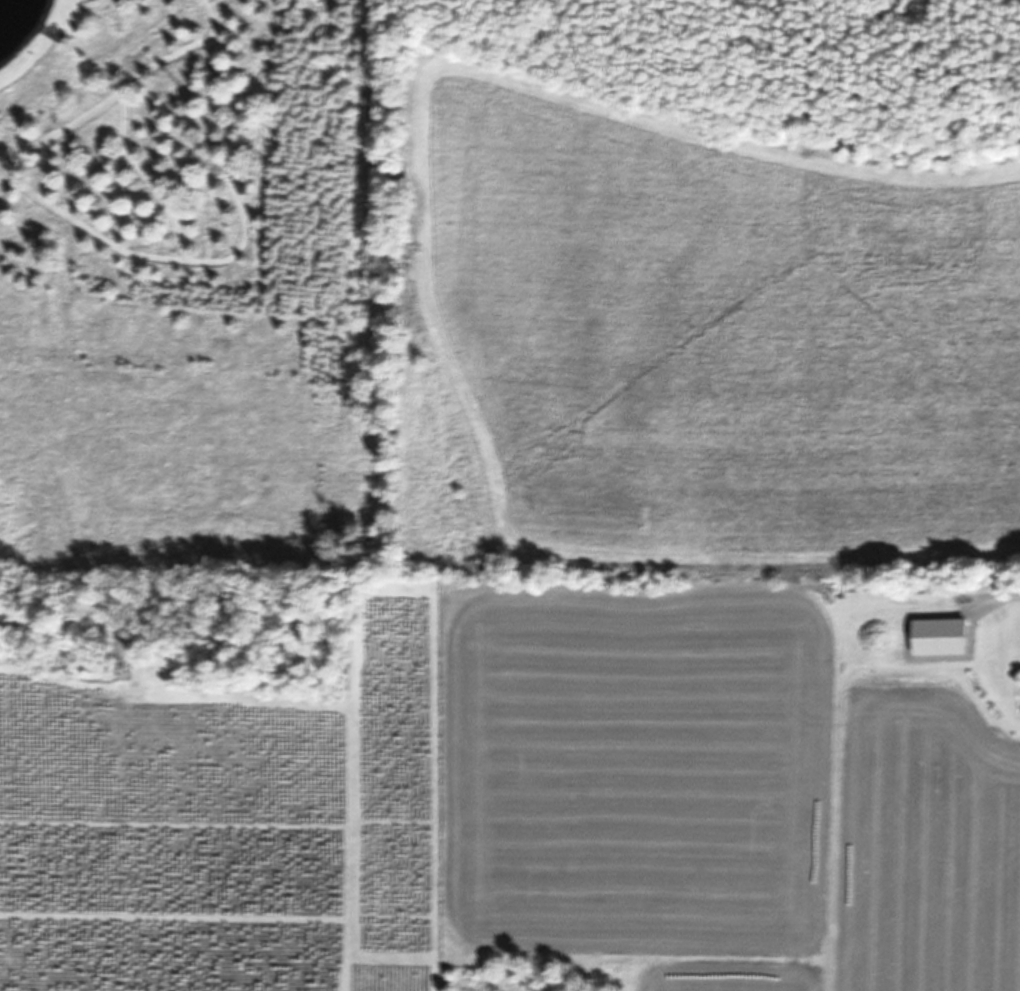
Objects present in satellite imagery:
building: (734, 499)

